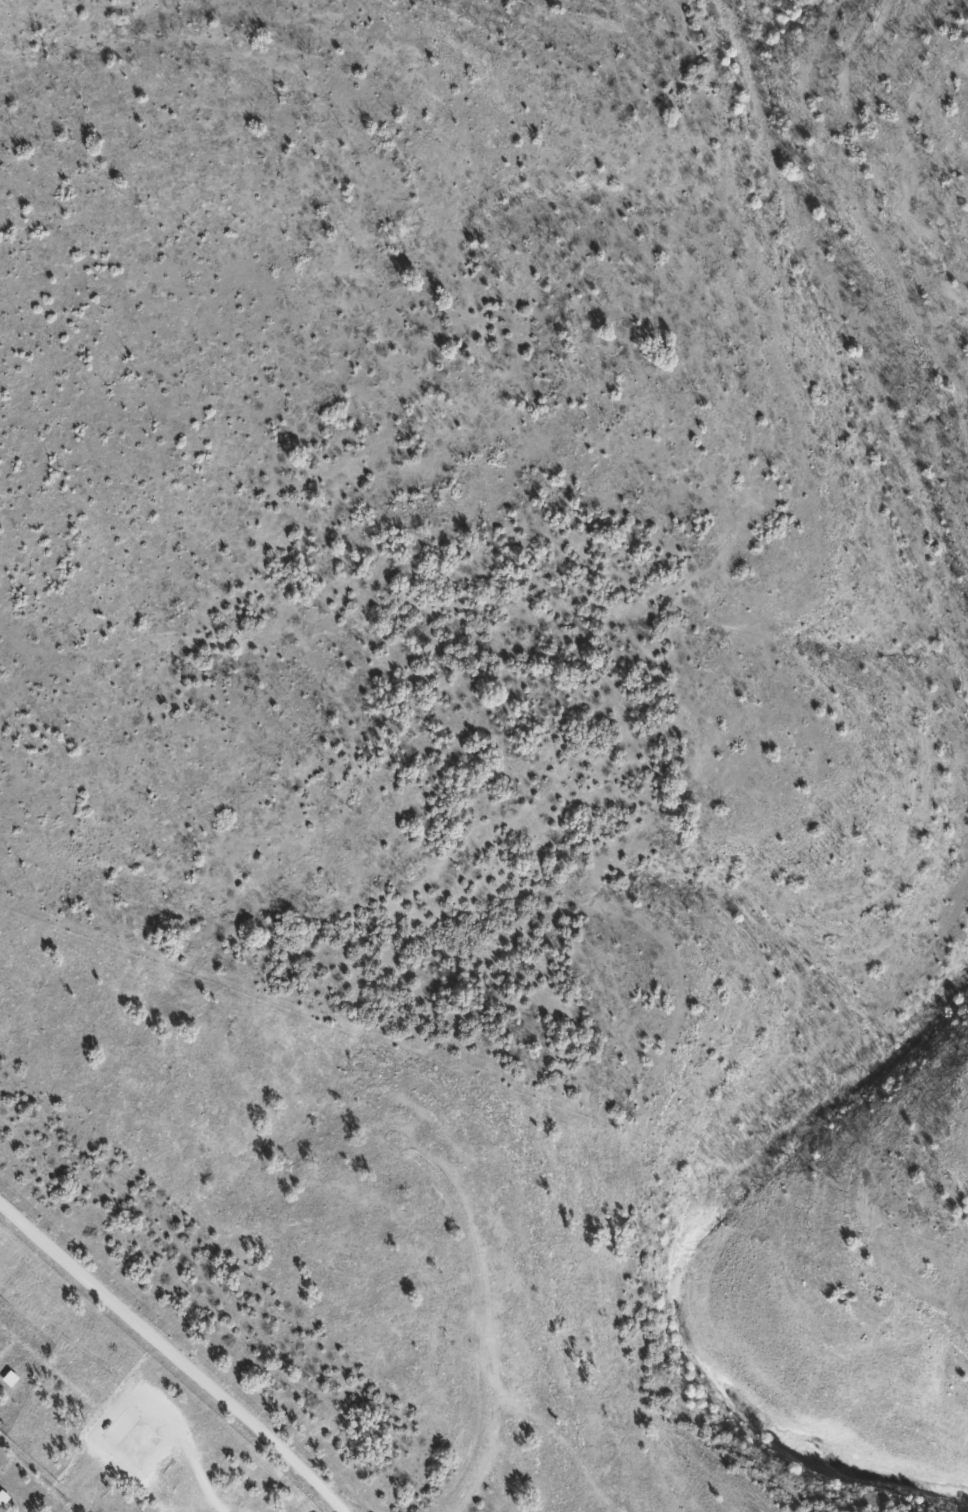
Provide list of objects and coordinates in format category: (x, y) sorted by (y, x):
road: (157, 1365)

